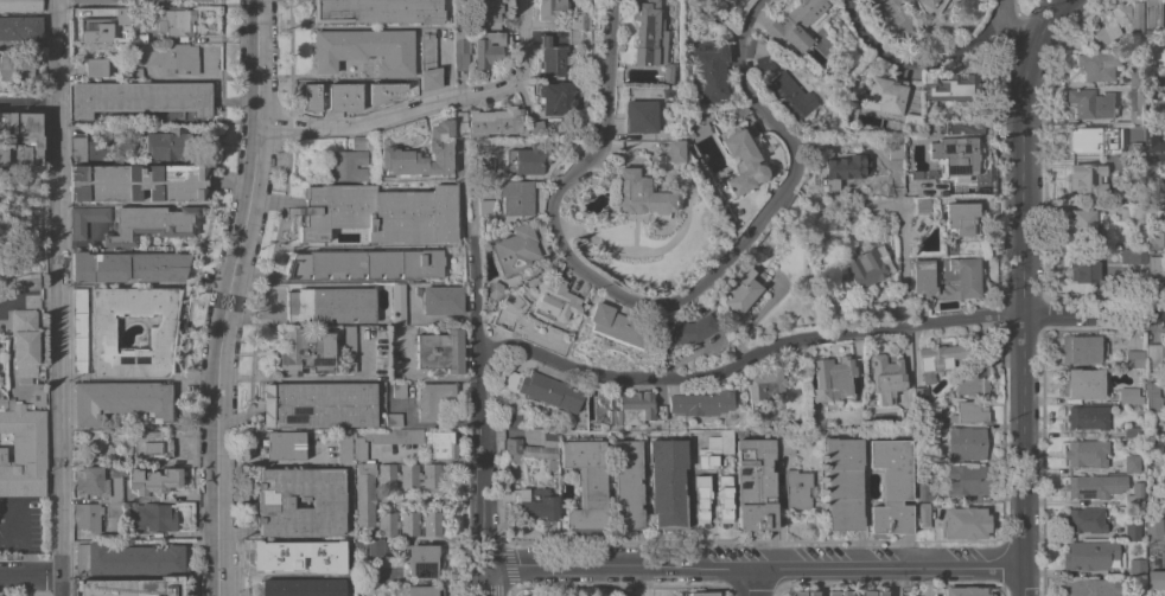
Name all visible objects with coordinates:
building: (89, 0)
building: (158, 0)
building: (197, 0)
building: (709, 0)
building: (191, 1)
building: (733, 1)
building: (20, 5)
road: (994, 5)
building: (550, 8)
building: (927, 9)
building: (378, 11)
building: (122, 12)
building: (489, 13)
building: (1153, 15)
building: (460, 19)
building: (174, 21)
building: (580, 21)
building: (1116, 21)
building: (795, 24)
road: (1008, 25)
building: (20, 27)
building: (94, 28)
building: (136, 31)
building: (648, 33)
building: (575, 37)
building: (461, 40)
building: (1120, 41)
building: (759, 47)
building: (365, 50)
building: (488, 50)
building: (171, 58)
building: (553, 58)
road: (916, 59)
building: (428, 62)
building: (461, 62)
building: (765, 64)
building: (1096, 65)
building: (95, 66)
building: (13, 68)
building: (709, 69)
building: (666, 72)
building: (135, 73)
building: (1138, 79)
building: (1160, 81)
building: (953, 88)
building: (348, 94)
building: (666, 94)
building: (886, 94)
building: (790, 96)
building: (140, 97)
building: (558, 98)
road: (28, 102)
building: (1091, 103)
road: (429, 104)
building: (1138, 105)
building: (639, 116)
building: (489, 122)
building: (535, 128)
building: (694, 132)
building: (21, 139)
building: (1095, 140)
building: (1150, 143)
building: (77, 145)
building: (163, 145)
building: (439, 145)
building: (100, 148)
building: (674, 150)
building: (895, 150)
building: (957, 155)
building: (528, 159)
building: (349, 161)
building: (741, 162)
building: (1164, 165)
building: (1140, 167)
building: (843, 169)
building: (1088, 179)
building: (138, 181)
building: (638, 196)
building: (516, 197)
building: (927, 205)
building: (485, 206)
building: (380, 212)
building: (1137, 212)
building: (961, 218)
building: (85, 219)
building: (151, 223)
building: (1082, 225)
building: (1154, 238)
building: (515, 250)
building: (1132, 257)
road: (902, 262)
building: (365, 263)
building: (867, 265)
building: (1082, 265)
building: (128, 267)
building: (1154, 267)
building: (960, 277)
building: (923, 281)
building: (24, 282)
building: (746, 287)
road: (1021, 288)
building: (495, 289)
road: (228, 296)
road: (59, 297)
building: (441, 299)
road: (30, 300)
building: (554, 300)
building: (399, 303)
building: (330, 305)
road: (661, 306)
building: (504, 319)
building: (616, 325)
building: (78, 329)
building: (680, 332)
road: (815, 335)
building: (159, 338)
building: (25, 345)
building: (346, 348)
building: (1082, 348)
building: (440, 351)
building: (304, 352)
building: (1151, 352)
building: (1134, 357)
building: (938, 359)
road: (292, 377)
building: (832, 378)
building: (886, 378)
building: (973, 380)
building: (765, 384)
building: (1084, 384)
building: (38, 387)
building: (399, 389)
building: (541, 389)
building: (1129, 395)
building: (919, 396)
building: (1152, 397)
building: (121, 400)
building: (434, 402)
building: (701, 403)
building: (319, 404)
building: (637, 409)
building: (969, 412)
building: (1087, 417)
road: (480, 418)
building: (393, 419)
building: (514, 421)
building: (1132, 431)
building: (383, 440)
building: (785, 441)
building: (153, 444)
building: (282, 444)
building: (441, 444)
building: (966, 444)
building: (344, 448)
building: (1153, 448)
building: (23, 449)
building: (514, 449)
building: (540, 449)
building: (715, 450)
building: (1087, 453)
building: (113, 454)
road: (273, 461)
building: (1131, 462)
building: (966, 479)
building: (153, 480)
building: (586, 482)
building: (668, 482)
building: (842, 482)
building: (91, 483)
building: (629, 483)
building: (756, 483)
building: (891, 486)
building: (1094, 486)
building: (115, 489)
building: (797, 489)
building: (924, 492)
building: (1151, 495)
building: (702, 498)
building: (724, 498)
building: (365, 499)
building: (1133, 500)
building: (536, 501)
building: (275, 504)
building: (113, 510)
building: (923, 514)
building: (88, 515)
building: (151, 518)
building: (1084, 520)
building: (965, 523)
building: (1154, 527)
building: (1132, 531)
road: (13, 534)
building: (345, 545)
building: (377, 547)
building: (1090, 555)
building: (279, 556)
road: (28, 557)
building: (128, 559)
building: (424, 560)
building: (1137, 568)
road: (755, 570)
building: (1156, 578)
road: (31, 581)
road: (752, 583)
road: (889, 583)
building: (132, 587)
building: (303, 587)
building: (1093, 587)
building: (421, 590)
building: (965, 591)
building: (1140, 592)
building: (702, 594)
building: (806, 594)
building: (839, 594)
building: (873, 594)

